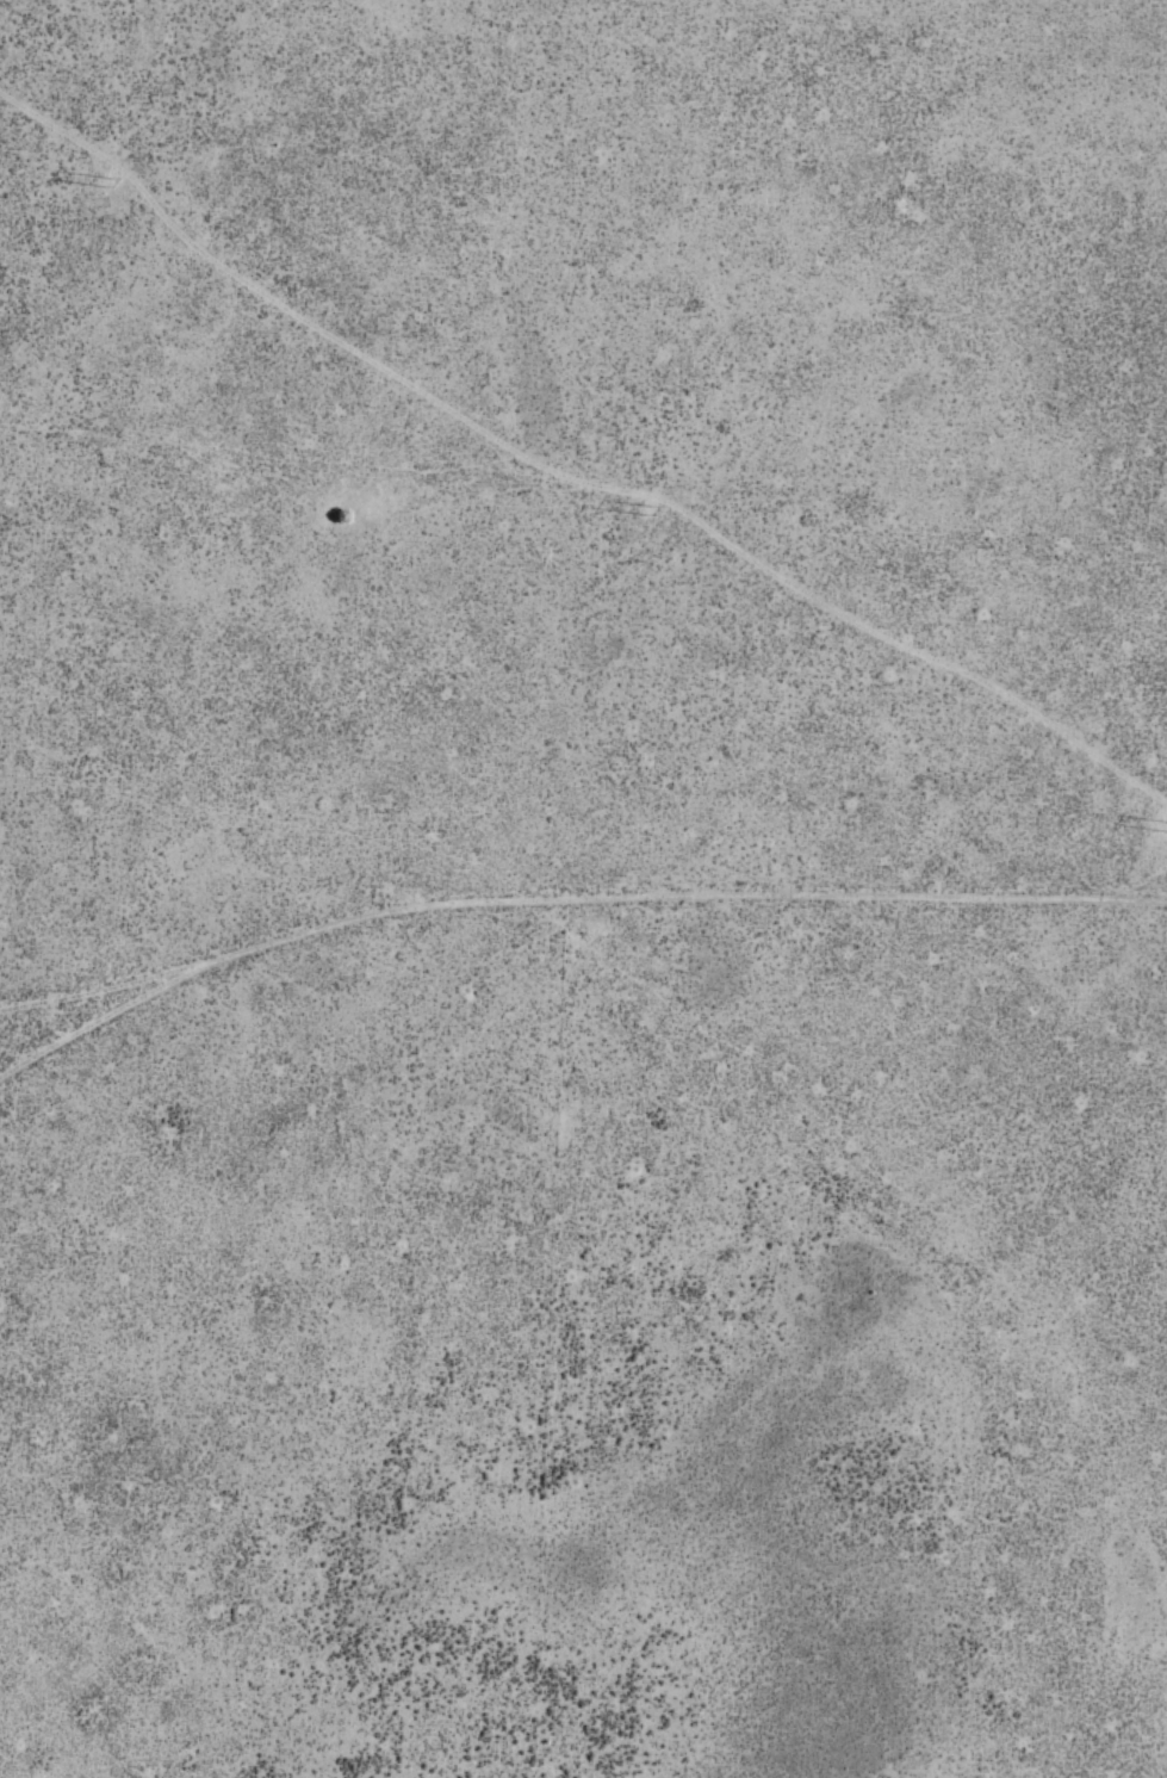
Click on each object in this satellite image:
power tower: (103, 184)
power tower: (645, 509)
road: (703, 896)
road: (131, 1028)
road: (17, 1091)

